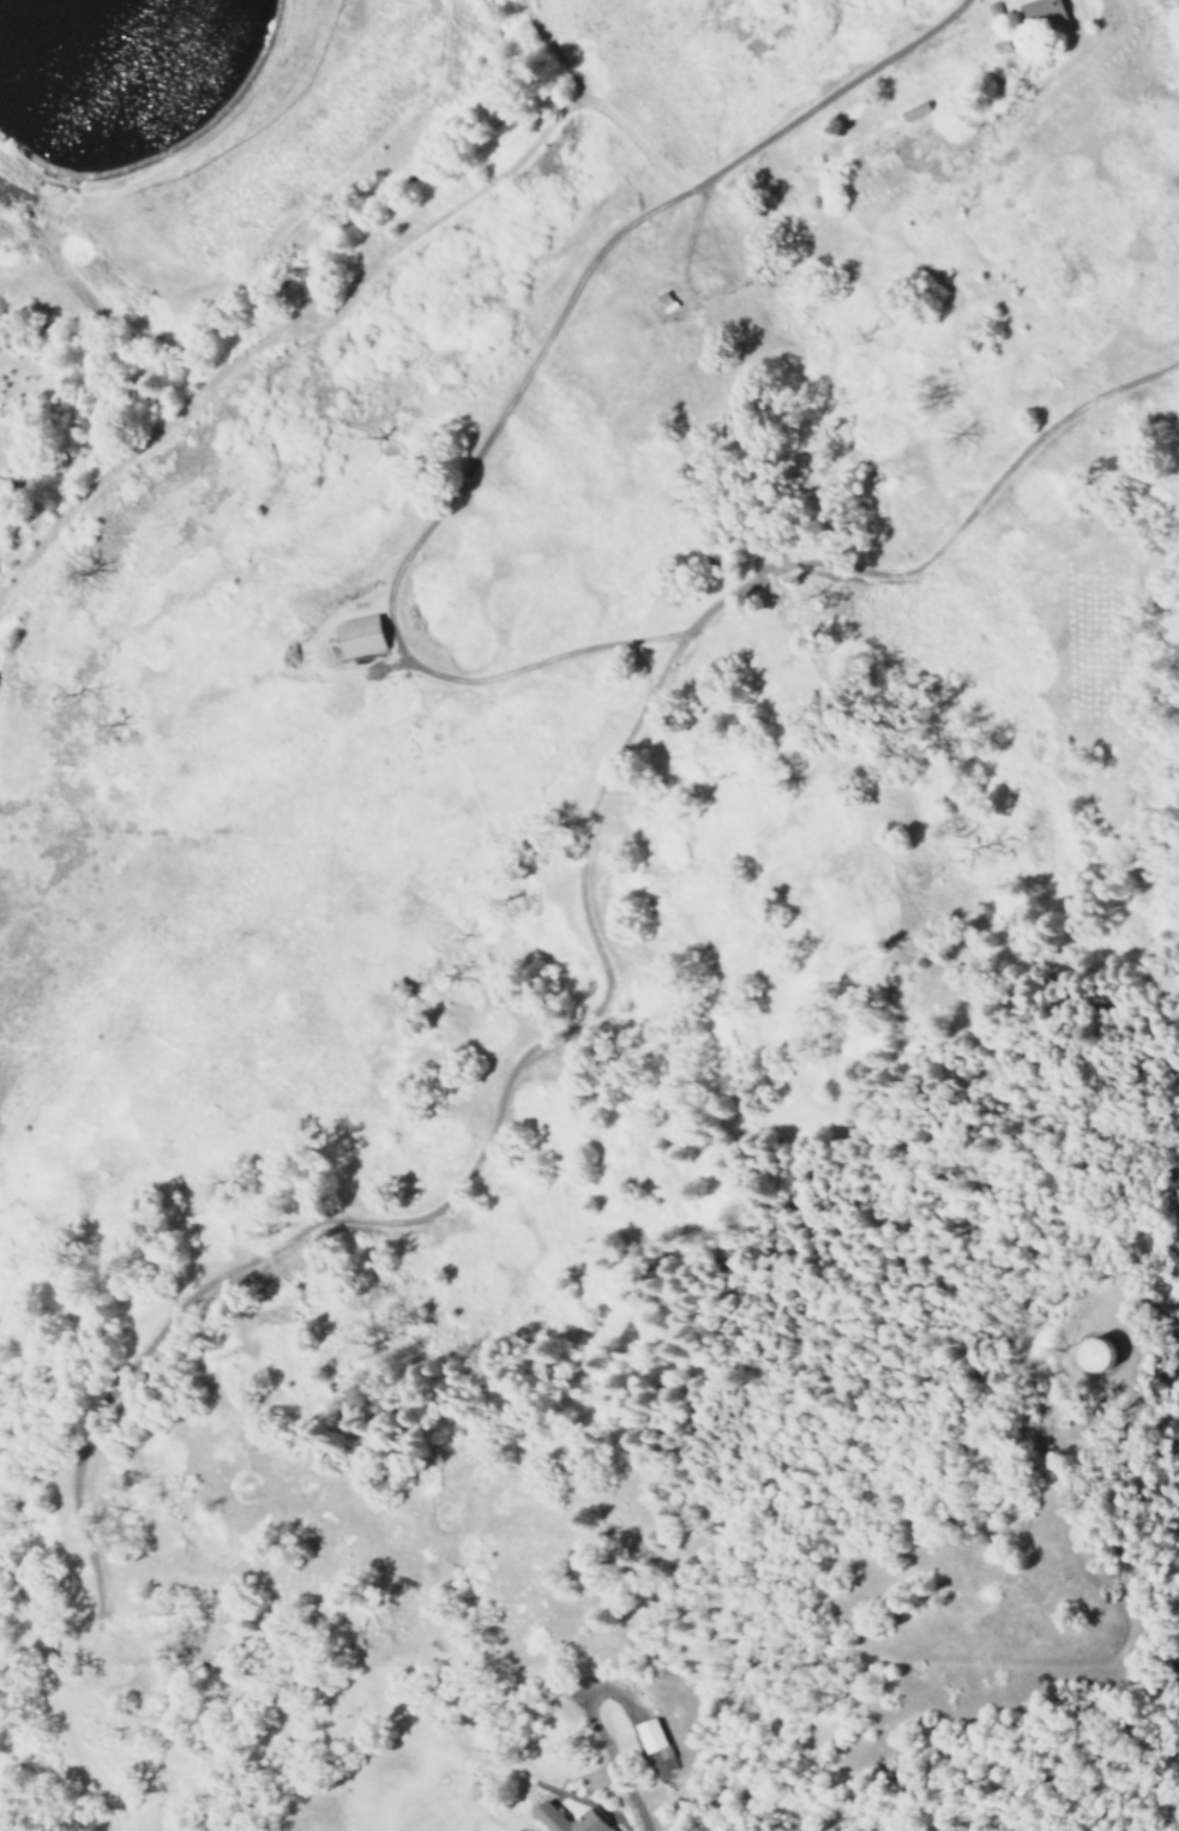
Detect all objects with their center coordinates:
building: (662, 301)
road: (519, 386)
road: (948, 541)
building: (355, 637)
road: (660, 680)
road: (643, 685)
road: (402, 1225)
road: (1129, 1293)
building: (1073, 1353)
building: (646, 1735)
building: (664, 1759)
building: (563, 1819)

